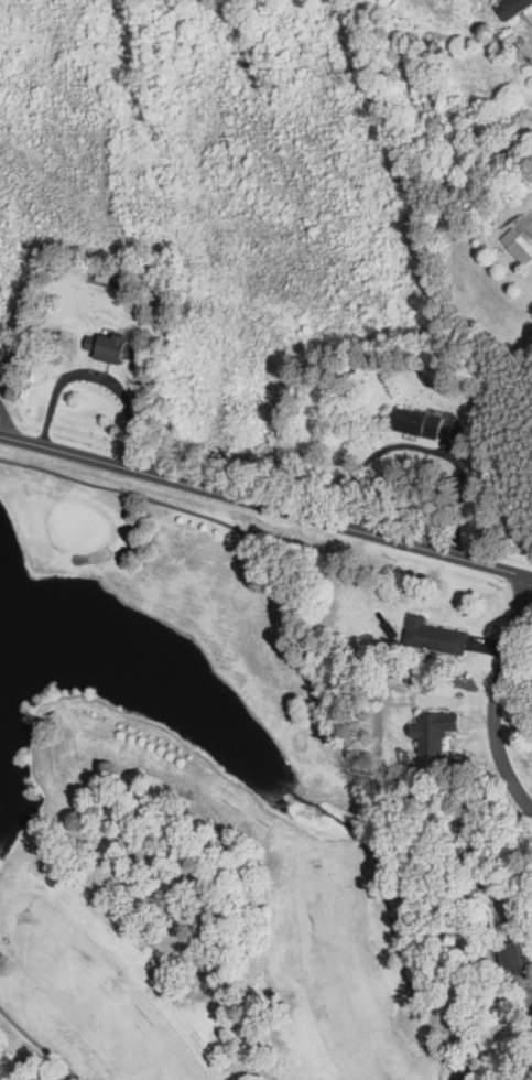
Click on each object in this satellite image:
building: (511, 8)
road: (523, 222)
building: (521, 250)
building: (105, 347)
road: (97, 374)
road: (6, 422)
building: (416, 423)
road: (265, 505)
building: (432, 636)
road: (495, 695)
park: (191, 816)
building: (508, 955)

